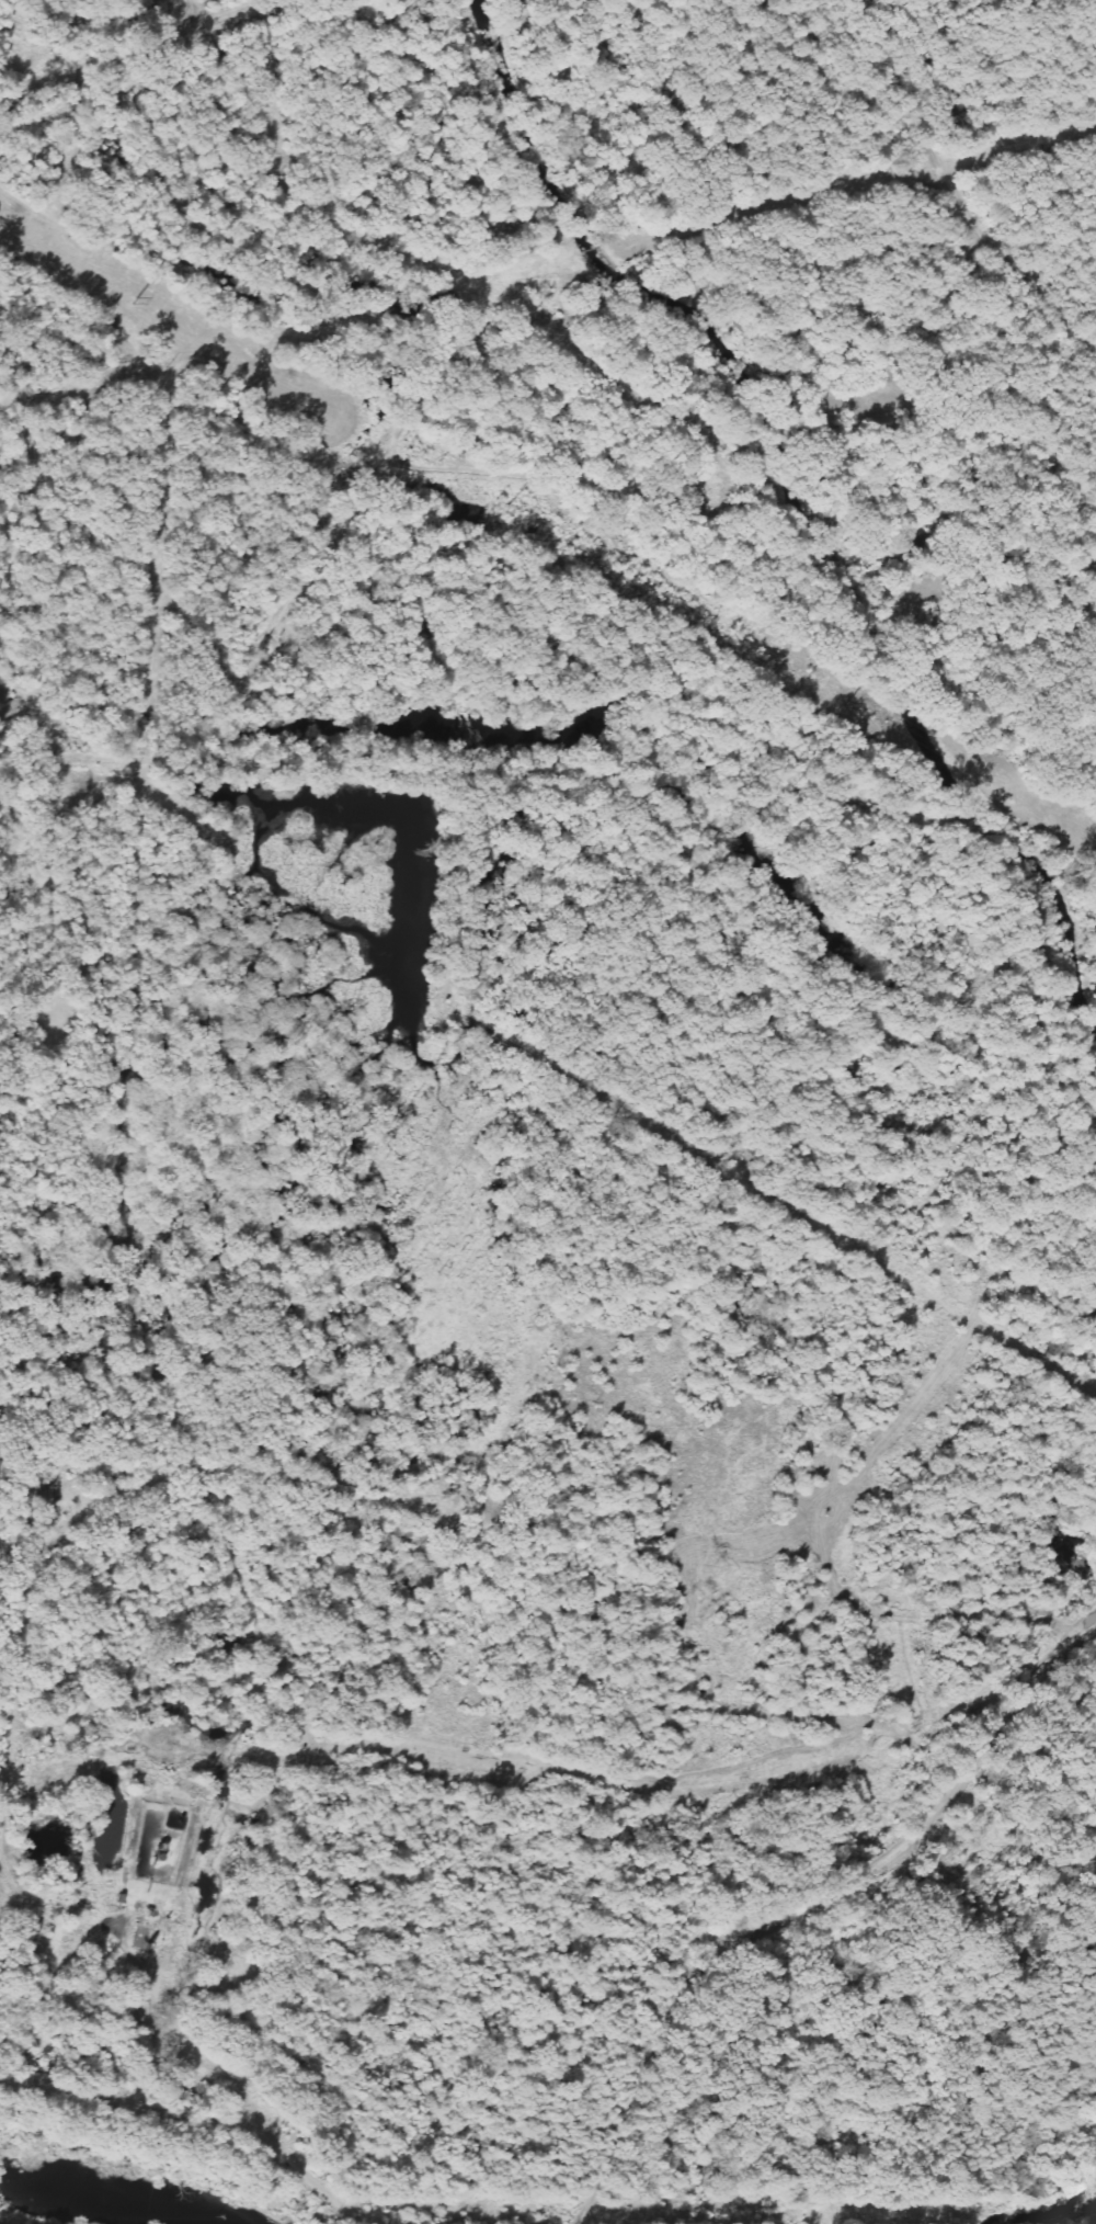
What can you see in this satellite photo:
power tower: (147, 303)
power tower: (372, 431)
power tower: (846, 704)

